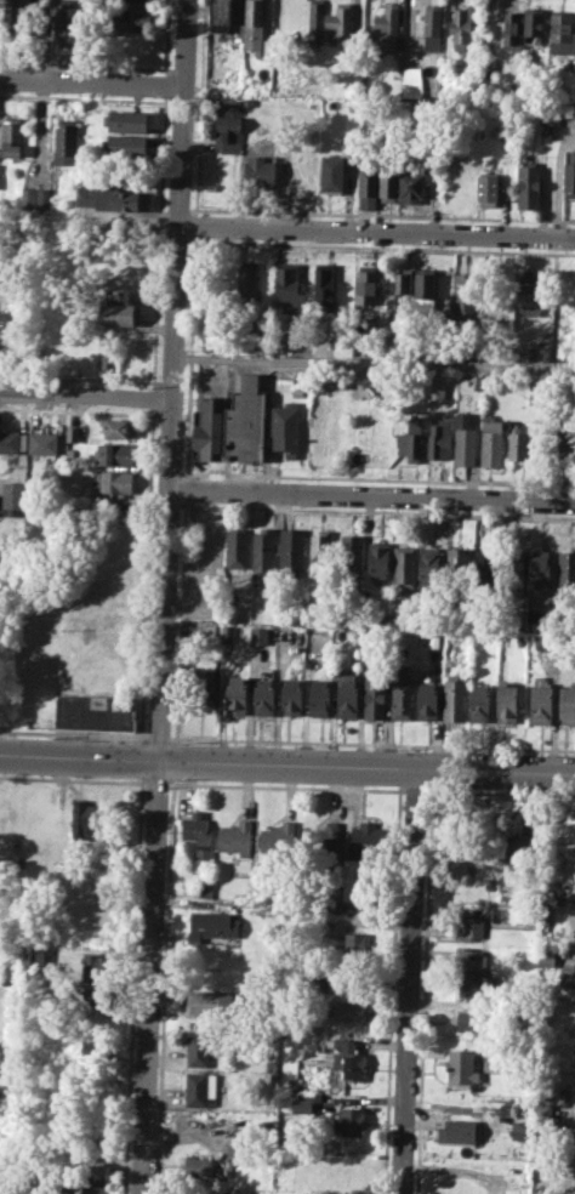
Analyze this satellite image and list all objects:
building: (140, 0)
building: (315, 15)
building: (15, 16)
building: (220, 16)
building: (132, 19)
building: (342, 21)
building: (387, 23)
building: (535, 23)
building: (250, 25)
building: (432, 25)
building: (512, 27)
building: (563, 27)
building: (64, 29)
building: (462, 30)
building: (411, 81)
road: (91, 83)
building: (548, 114)
building: (125, 120)
building: (505, 131)
building: (227, 133)
building: (12, 135)
building: (67, 140)
building: (125, 144)
building: (332, 172)
building: (569, 172)
building: (258, 174)
building: (387, 183)
building: (526, 183)
building: (412, 184)
building: (366, 187)
building: (486, 189)
building: (112, 197)
building: (28, 198)
building: (44, 198)
road: (377, 231)
building: (324, 282)
building: (403, 283)
building: (247, 284)
building: (287, 284)
building: (365, 285)
building: (425, 288)
building: (528, 294)
building: (462, 295)
building: (123, 313)
building: (8, 319)
building: (212, 334)
building: (539, 349)
building: (472, 352)
building: (106, 357)
road: (375, 362)
building: (368, 383)
building: (437, 386)
building: (296, 391)
road: (86, 393)
building: (232, 421)
building: (286, 425)
building: (119, 428)
building: (72, 433)
building: (318, 434)
building: (440, 434)
building: (465, 439)
building: (12, 440)
building: (410, 440)
building: (44, 442)
building: (491, 442)
building: (518, 444)
building: (564, 444)
building: (118, 453)
building: (113, 481)
road: (371, 494)
building: (13, 499)
building: (235, 547)
building: (263, 550)
building: (291, 550)
building: (321, 550)
building: (351, 557)
building: (378, 558)
building: (429, 565)
building: (457, 565)
building: (404, 567)
building: (486, 567)
building: (516, 568)
building: (541, 569)
building: (567, 570)
road: (164, 597)
building: (381, 620)
building: (260, 635)
building: (434, 638)
building: (545, 639)
building: (206, 683)
building: (402, 694)
building: (238, 695)
building: (294, 696)
building: (320, 696)
building: (348, 696)
building: (375, 696)
building: (266, 698)
building: (455, 698)
building: (427, 699)
building: (480, 701)
building: (507, 703)
building: (568, 703)
building: (541, 704)
building: (96, 711)
road: (74, 733)
road: (158, 737)
road: (371, 744)
road: (286, 766)
road: (72, 779)
road: (155, 783)
road: (285, 786)
road: (414, 790)
road: (500, 791)
building: (85, 819)
building: (198, 831)
building: (235, 837)
building: (278, 837)
building: (321, 837)
building: (365, 840)
building: (522, 849)
building: (212, 925)
building: (468, 926)
building: (354, 948)
building: (469, 957)
building: (546, 957)
building: (34, 961)
building: (101, 962)
building: (568, 976)
building: (328, 982)
road: (408, 982)
building: (473, 988)
building: (102, 997)
building: (214, 1003)
building: (349, 1010)
building: (468, 1019)
building: (96, 1047)
building: (197, 1047)
building: (574, 1056)
building: (346, 1057)
building: (461, 1065)
building: (199, 1085)
building: (309, 1102)
building: (348, 1120)
building: (519, 1130)
building: (460, 1131)
building: (90, 1160)
building: (200, 1166)
building: (91, 1189)

